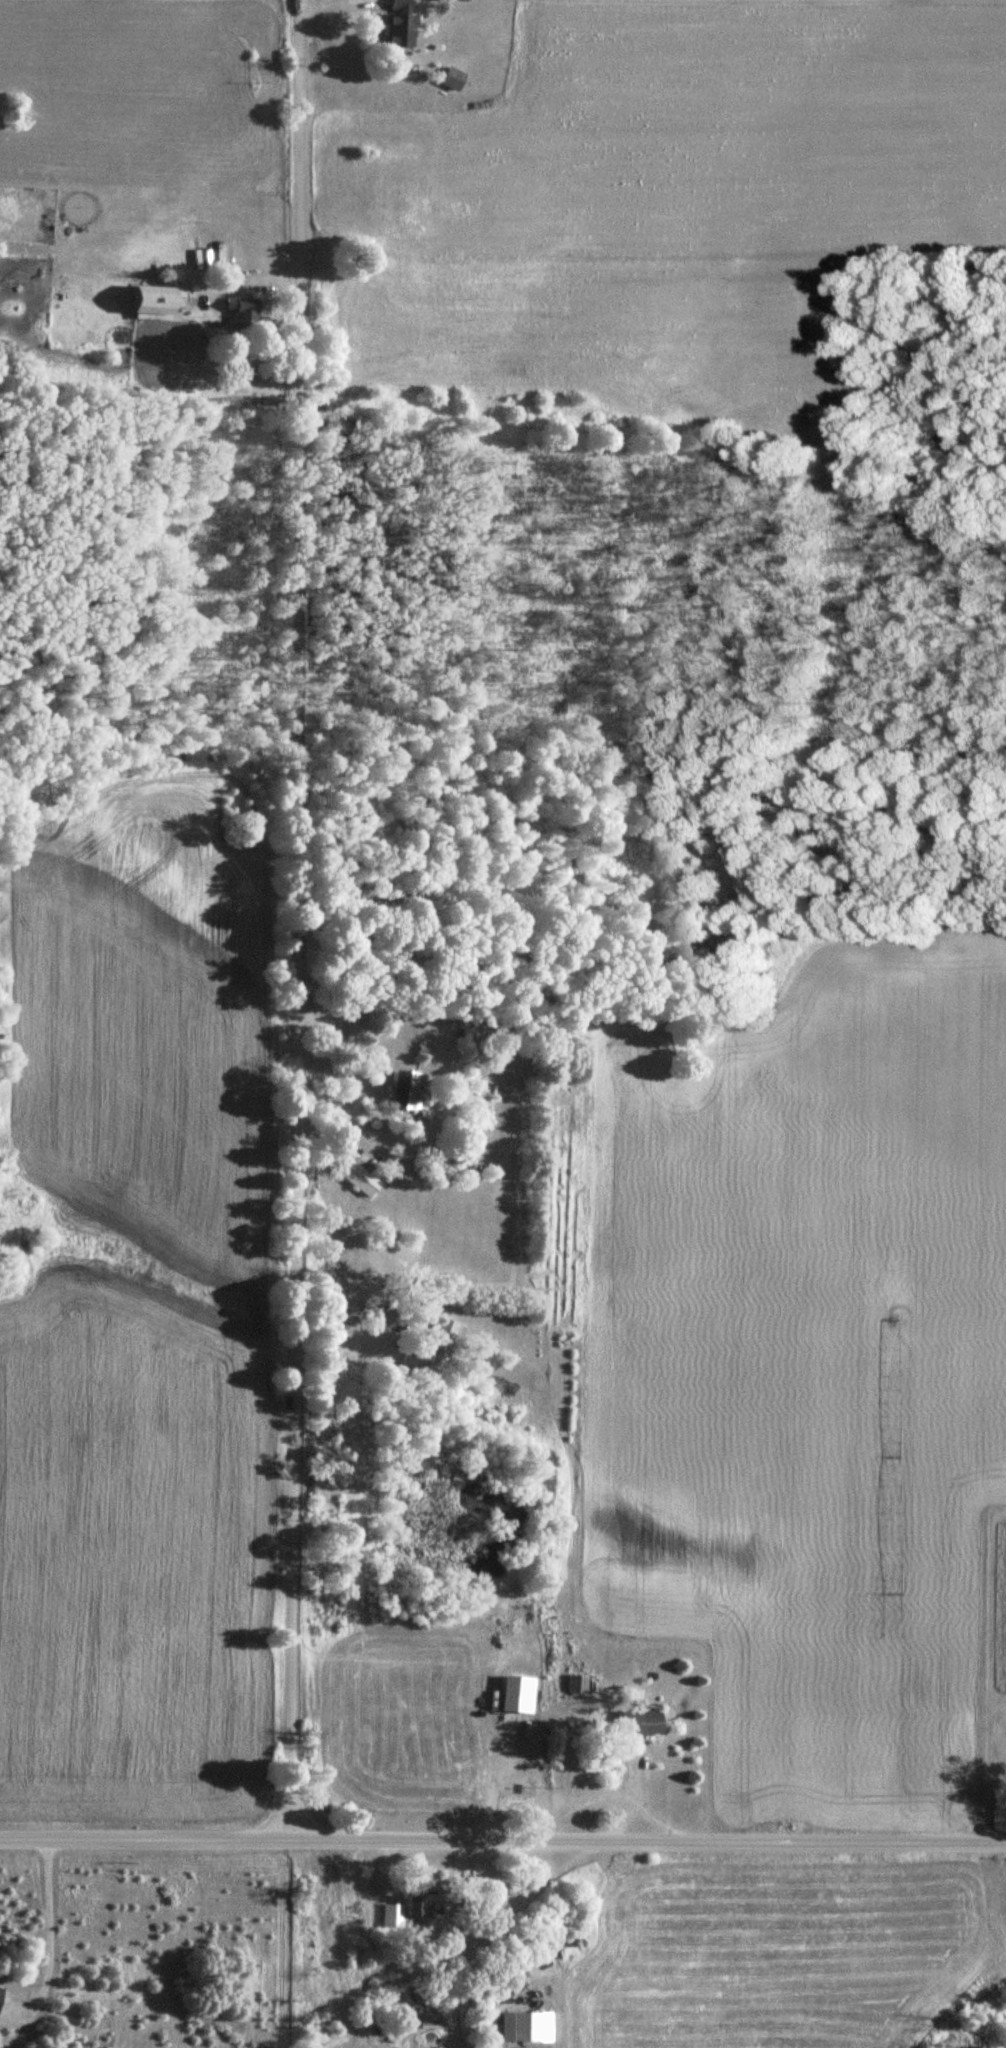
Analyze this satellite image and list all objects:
building: (394, 26)
building: (448, 79)
building: (154, 301)
building: (239, 315)
road: (292, 919)
road: (445, 1068)
building: (401, 1090)
building: (355, 1179)
building: (441, 1333)
road: (345, 1339)
building: (573, 1683)
building: (634, 1722)
road: (603, 1795)
road: (503, 1839)
building: (415, 1907)
building: (521, 2027)

